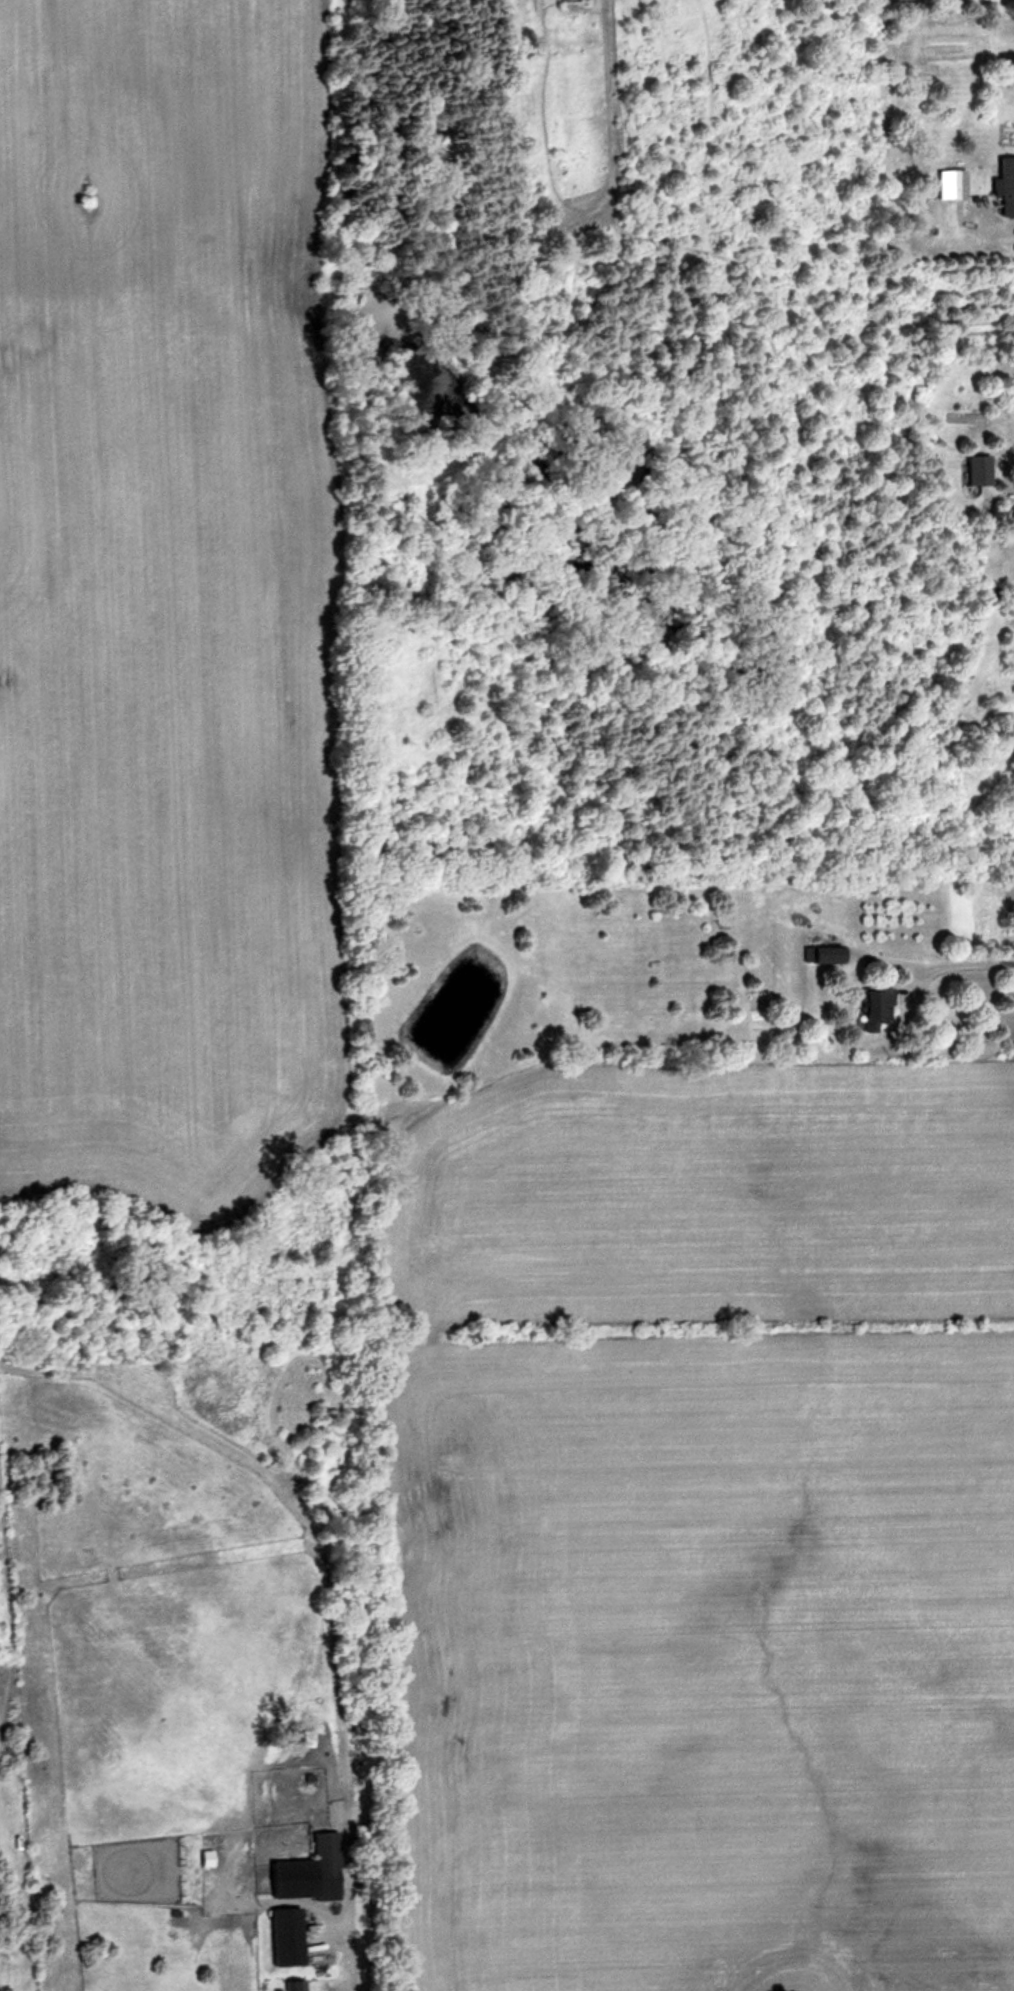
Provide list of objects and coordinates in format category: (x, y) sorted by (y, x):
building: (950, 184)
building: (1004, 185)
building: (976, 470)
road: (967, 963)
building: (873, 1007)
building: (308, 1871)
building: (285, 1936)
building: (293, 1985)
road: (350, 1988)

